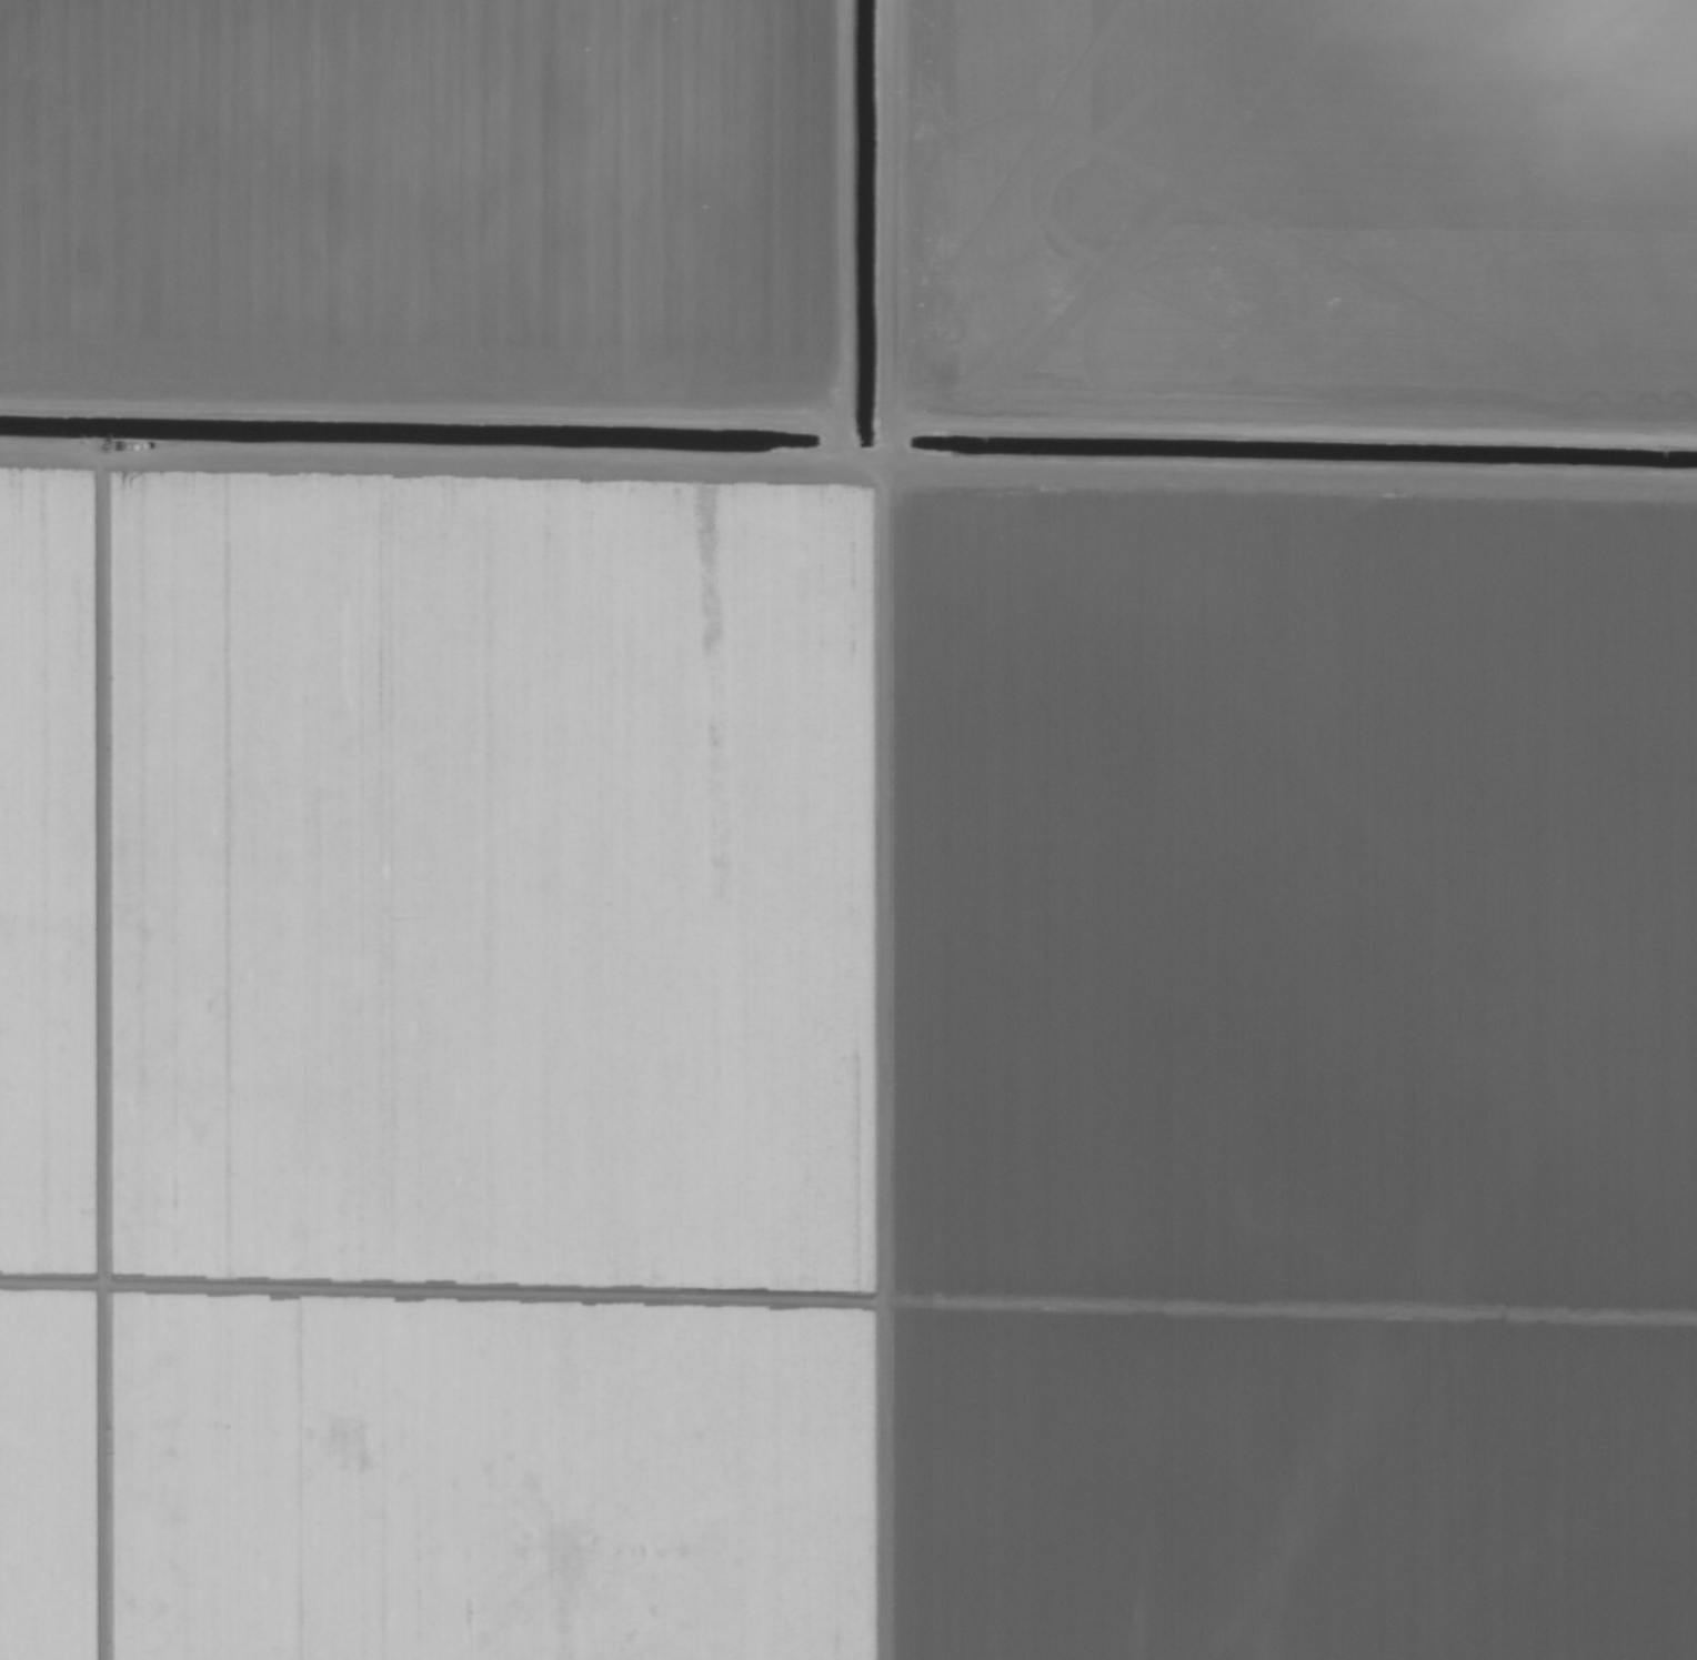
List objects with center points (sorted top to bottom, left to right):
road: (691, 472)
crop: (848, 829)
road: (872, 1075)

